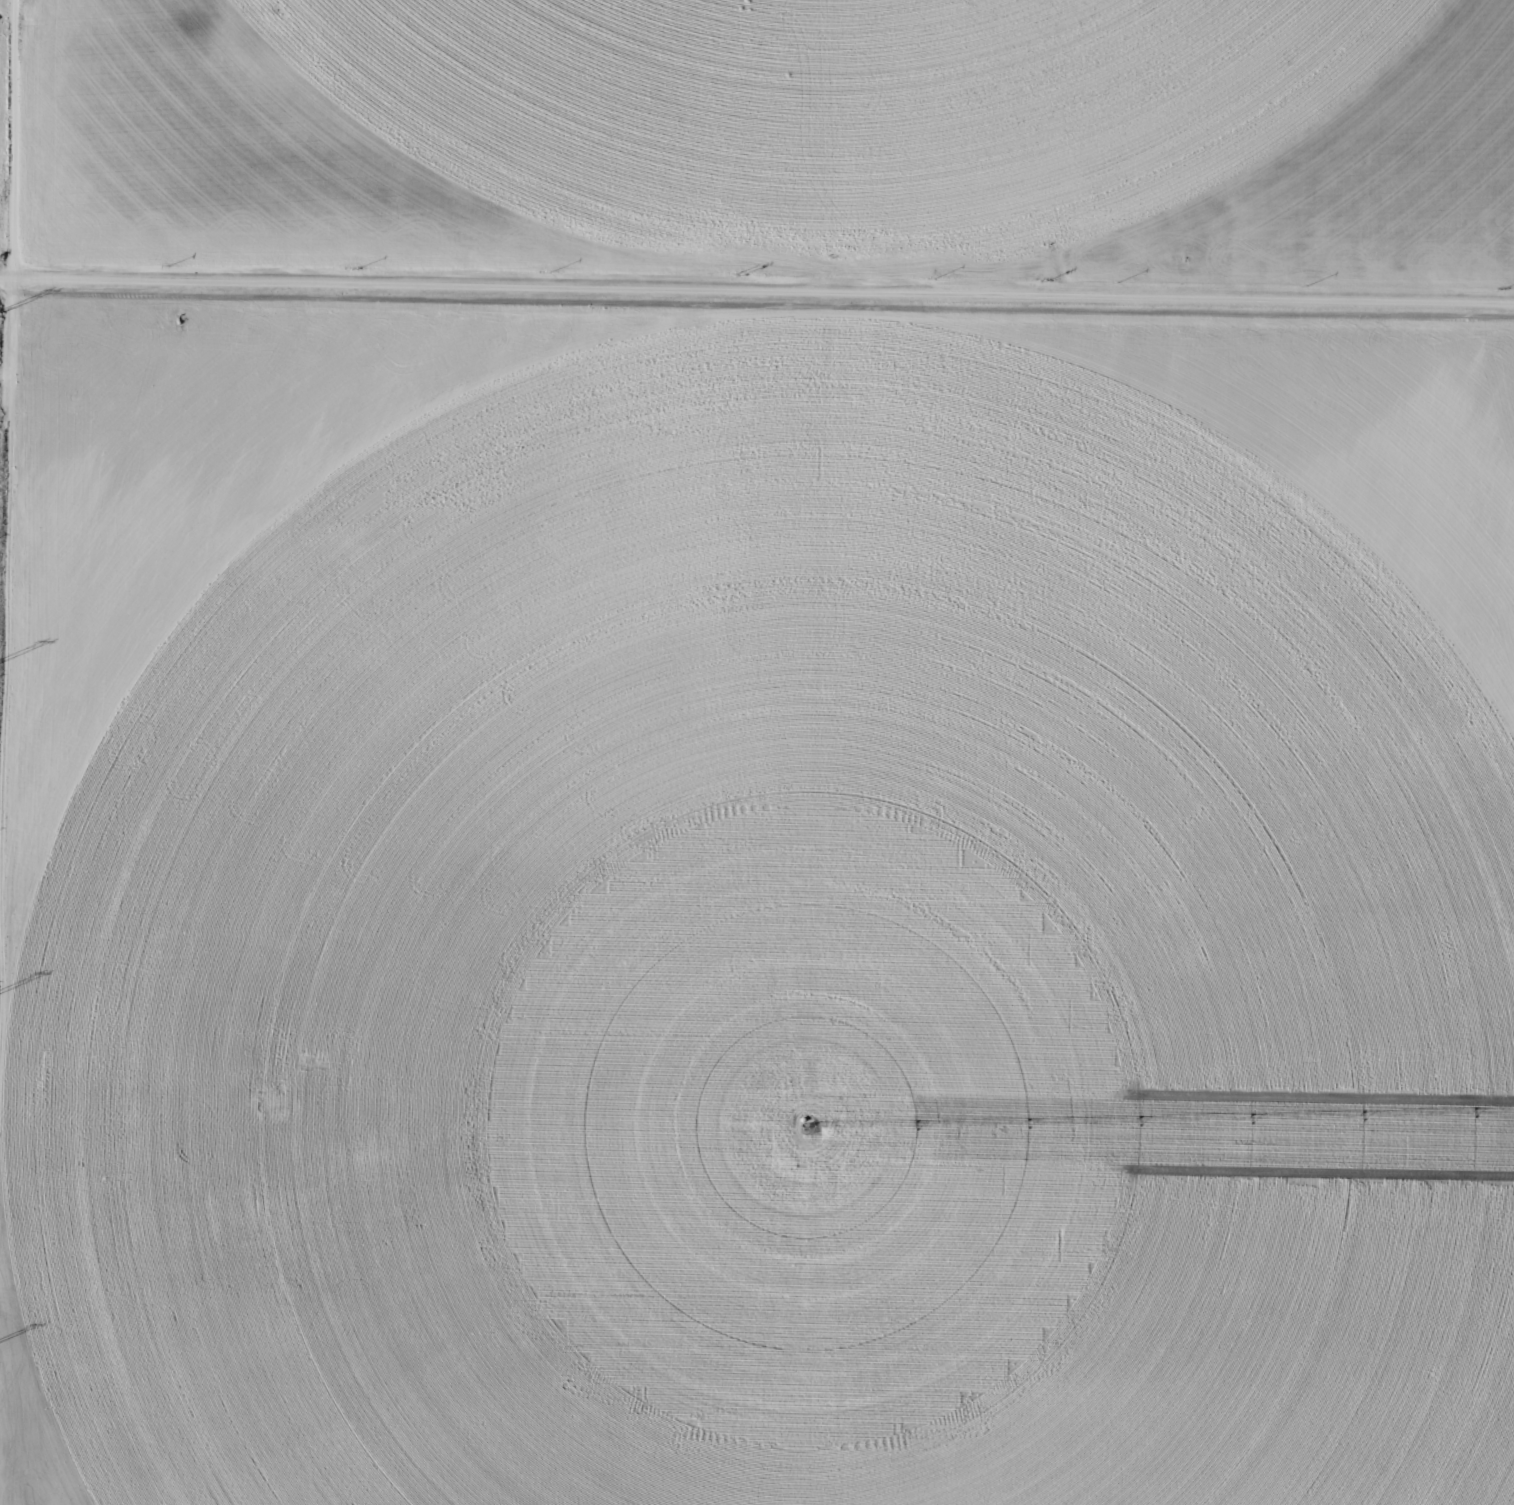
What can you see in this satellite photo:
road: (9, 142)
road: (757, 289)
road: (4, 483)

